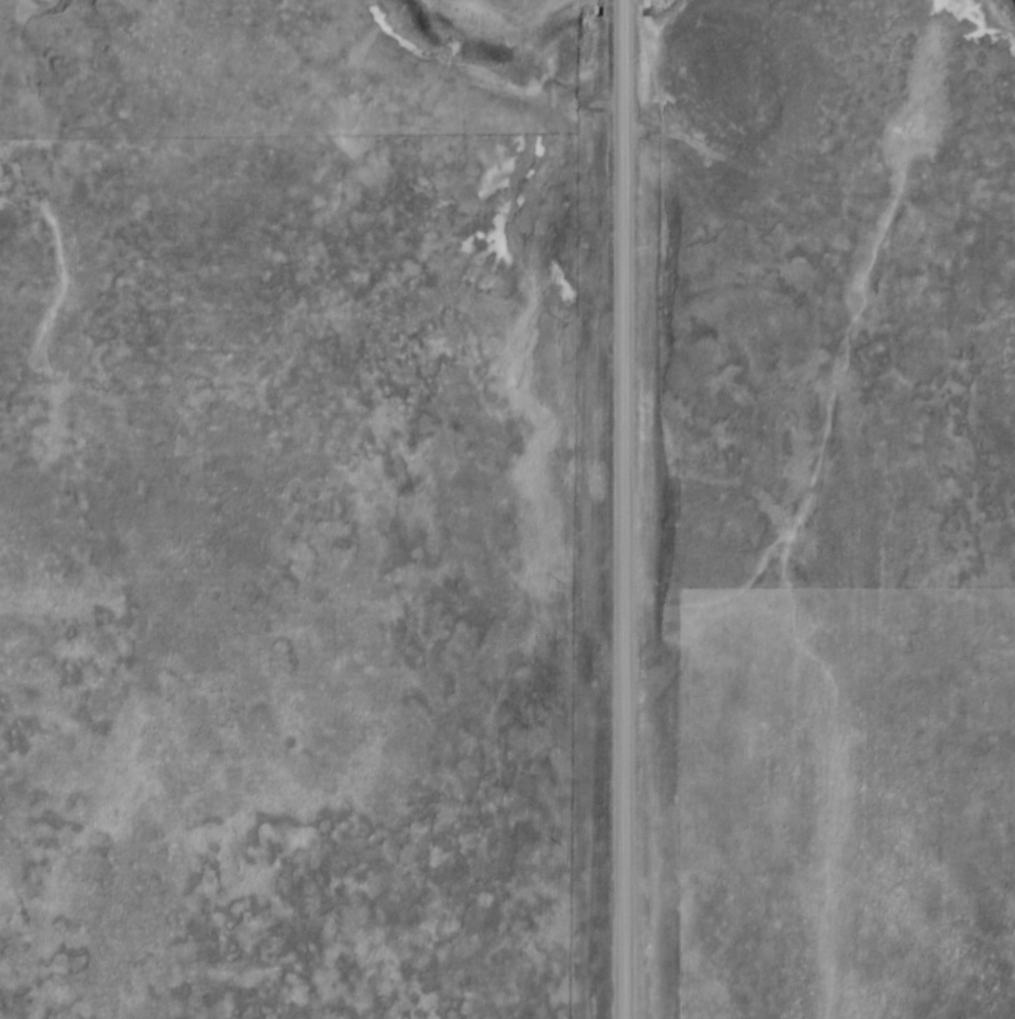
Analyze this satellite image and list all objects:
road: (627, 509)

